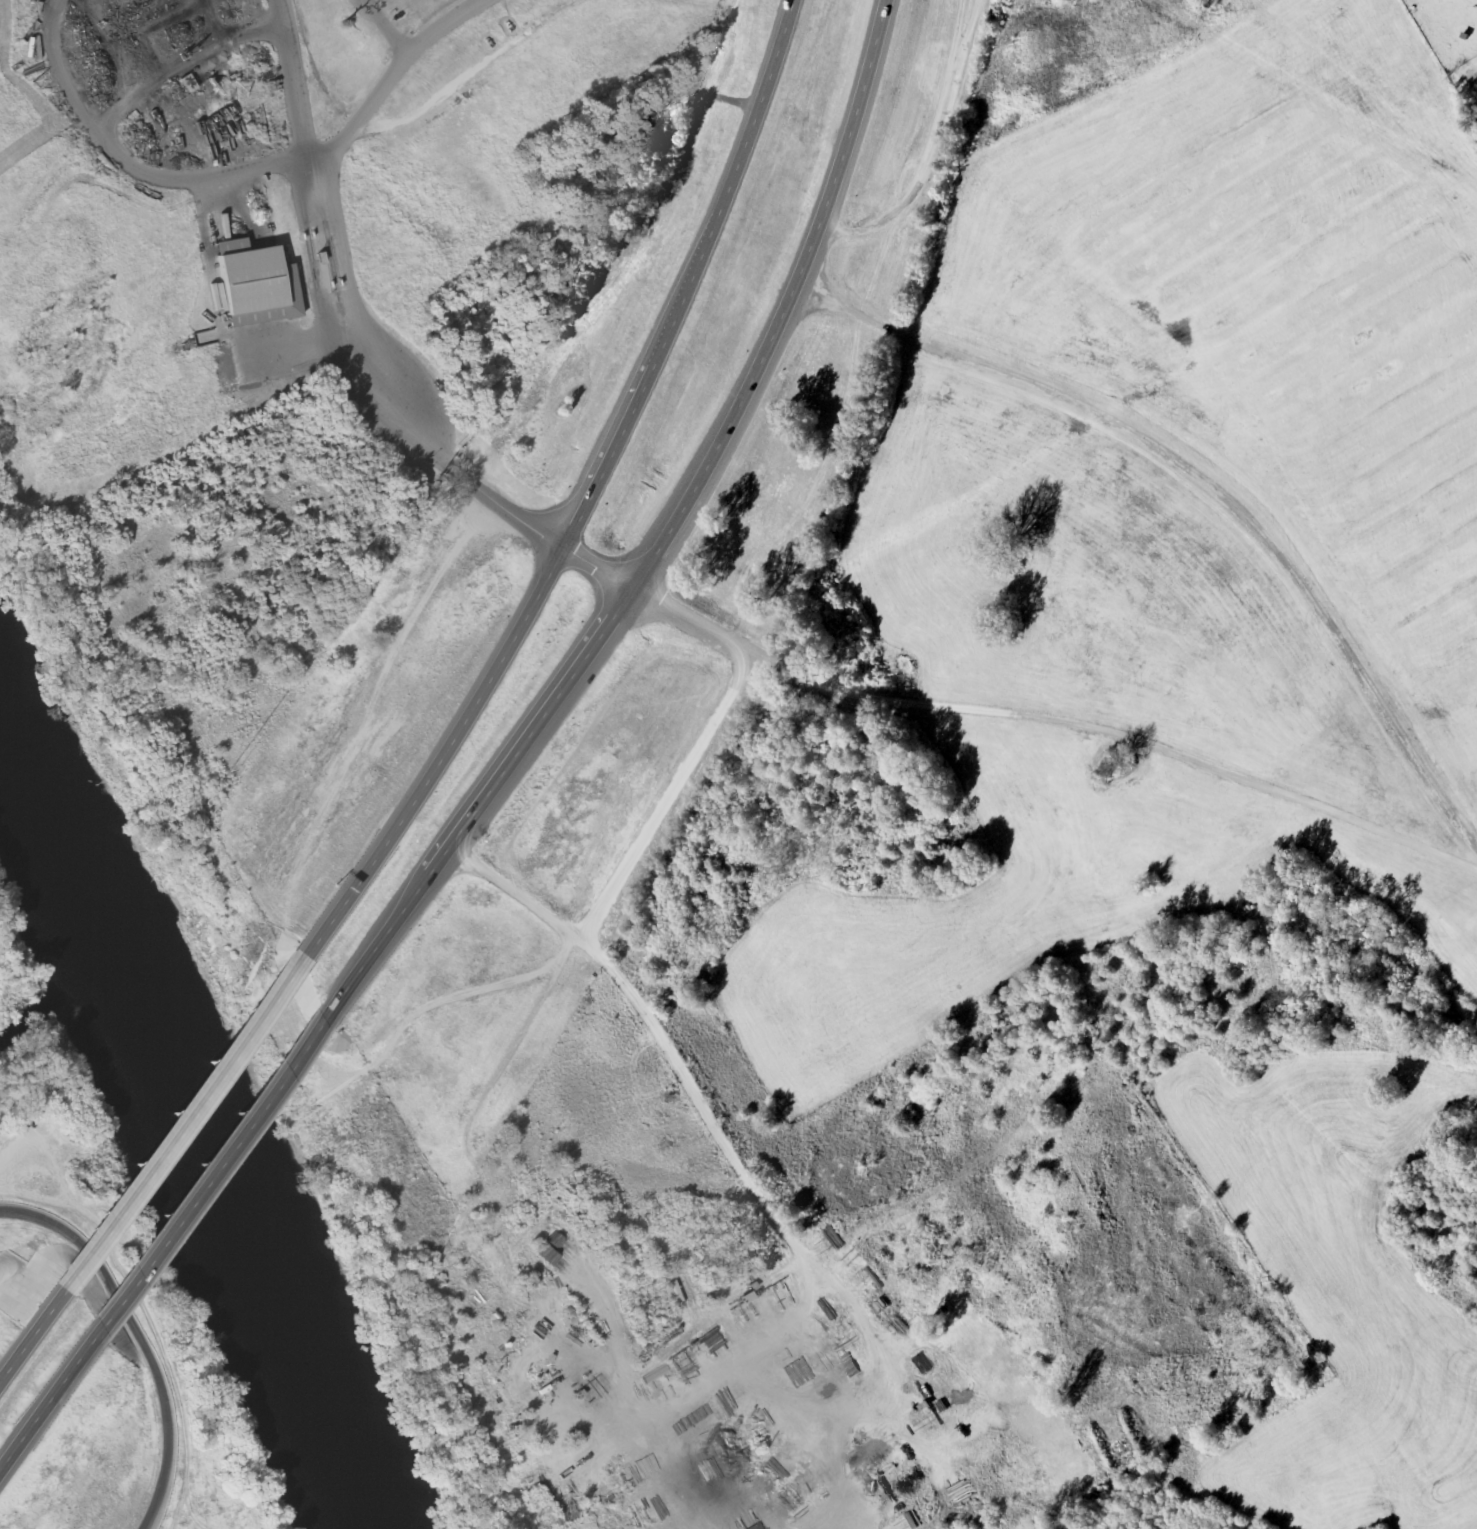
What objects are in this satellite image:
building: (193, 85)
road: (692, 278)
building: (267, 291)
road: (723, 450)
road: (1205, 478)
road: (497, 504)
road: (441, 760)
road: (627, 868)
road: (393, 929)
road: (699, 1103)
road: (188, 1120)
river: (194, 1146)
road: (217, 1172)
road: (38, 1330)
road: (143, 1336)
road: (52, 1402)
road: (2, 1473)

